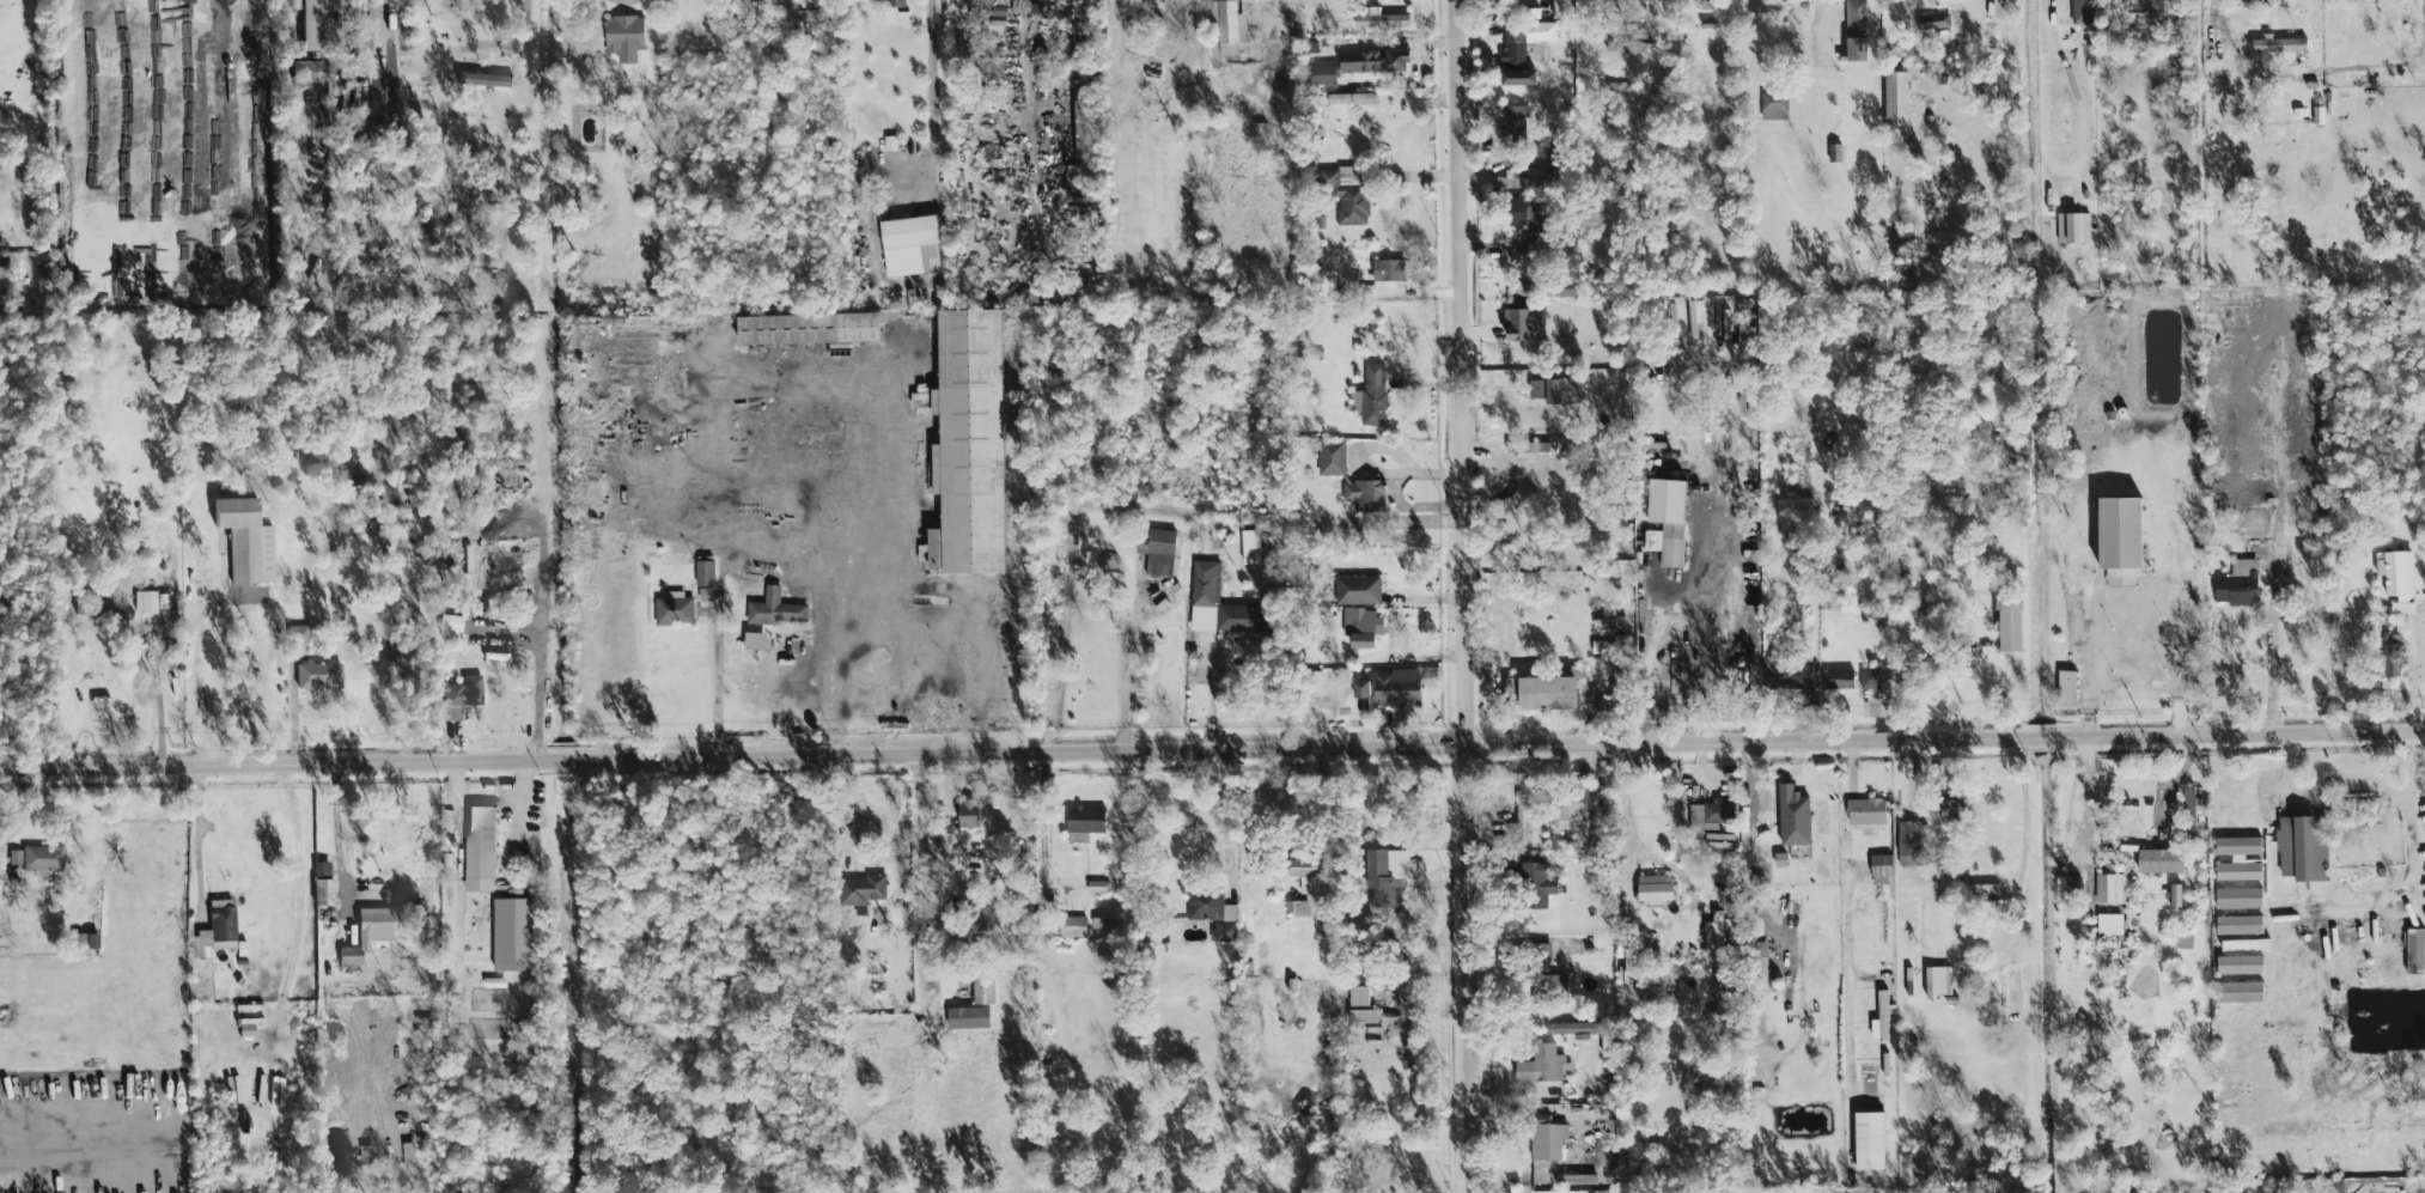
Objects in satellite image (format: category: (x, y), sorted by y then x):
road: (630, 0)
building: (347, 1)
building: (816, 1)
building: (896, 4)
road: (2211, 4)
building: (1562, 8)
road: (1282, 10)
building: (2159, 10)
building: (2082, 12)
road: (526, 14)
road: (2043, 14)
building: (1382, 19)
building: (1938, 20)
building: (1227, 24)
building: (311, 25)
building: (1856, 32)
building: (624, 37)
building: (2280, 47)
building: (1522, 51)
building: (1375, 61)
building: (305, 72)
building: (1323, 73)
building: (485, 80)
road: (1036, 83)
road: (931, 87)
building: (1897, 98)
building: (1351, 99)
building: (1775, 106)
building: (1516, 121)
building: (1085, 128)
building: (1077, 176)
building: (1513, 179)
building: (1346, 194)
building: (1524, 213)
building: (2073, 227)
building: (912, 245)
building: (0, 268)
building: (1393, 270)
building: (2261, 297)
building: (1525, 324)
building: (810, 329)
building: (1559, 391)
building: (1372, 396)
building: (970, 445)
building: (1333, 459)
road: (2280, 465)
building: (1366, 495)
building: (1668, 522)
building: (2122, 540)
building: (245, 541)
building: (1251, 547)
building: (1158, 552)
road: (867, 568)
building: (2399, 579)
building: (706, 580)
building: (2240, 584)
building: (1359, 590)
road: (1462, 596)
building: (144, 602)
building: (776, 610)
building: (674, 611)
building: (1236, 619)
building: (1609, 620)
building: (2012, 626)
building: (1363, 628)
road: (1133, 633)
building: (297, 634)
building: (755, 641)
building: (2393, 656)
road: (1653, 659)
road: (154, 661)
road: (199, 662)
road: (1912, 667)
road: (2089, 670)
building: (1790, 674)
building: (318, 676)
building: (1839, 680)
building: (1870, 680)
road: (721, 688)
building: (1397, 688)
building: (1361, 689)
building: (2067, 689)
building: (1544, 693)
building: (461, 696)
road: (1212, 751)
road: (2157, 787)
road: (2088, 799)
road: (2322, 803)
building: (1577, 804)
building: (2191, 810)
building: (1866, 811)
building: (970, 814)
road: (1224, 815)
building: (1712, 815)
building: (1523, 817)
building: (1795, 817)
building: (1085, 823)
road: (1041, 830)
road: (196, 842)
building: (1911, 844)
road: (1749, 845)
building: (2303, 848)
building: (480, 850)
building: (13, 858)
building: (41, 858)
building: (2240, 859)
building: (2162, 862)
building: (1306, 868)
building: (1882, 870)
building: (1387, 875)
road: (921, 876)
building: (321, 884)
building: (1539, 885)
building: (859, 887)
building: (1097, 887)
building: (1656, 888)
building: (1986, 889)
building: (2110, 889)
road: (2412, 896)
building: (2240, 899)
building: (1298, 909)
building: (1214, 913)
road: (1846, 923)
building: (1882, 924)
building: (2110, 925)
building: (218, 926)
building: (2241, 926)
building: (1072, 927)
building: (367, 933)
building: (514, 933)
building: (1717, 939)
building: (2247, 945)
building: (1540, 950)
building: (2415, 952)
building: (1760, 957)
building: (2241, 966)
building: (1939, 981)
building: (1550, 986)
building: (985, 993)
building: (2241, 993)
building: (1361, 1008)
building: (969, 1018)
building: (1882, 1018)
building: (871, 1029)
building: (1572, 1030)
building: (1543, 1066)
building: (1871, 1139)
building: (1548, 1140)
building: (408, 1152)

